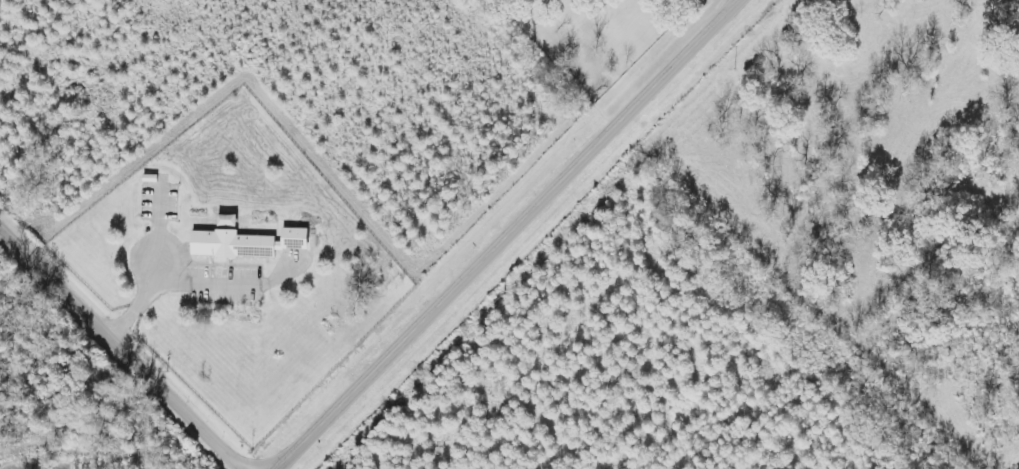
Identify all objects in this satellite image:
road: (737, 2)
road: (515, 234)
building: (289, 240)
building: (227, 246)
road: (122, 344)

